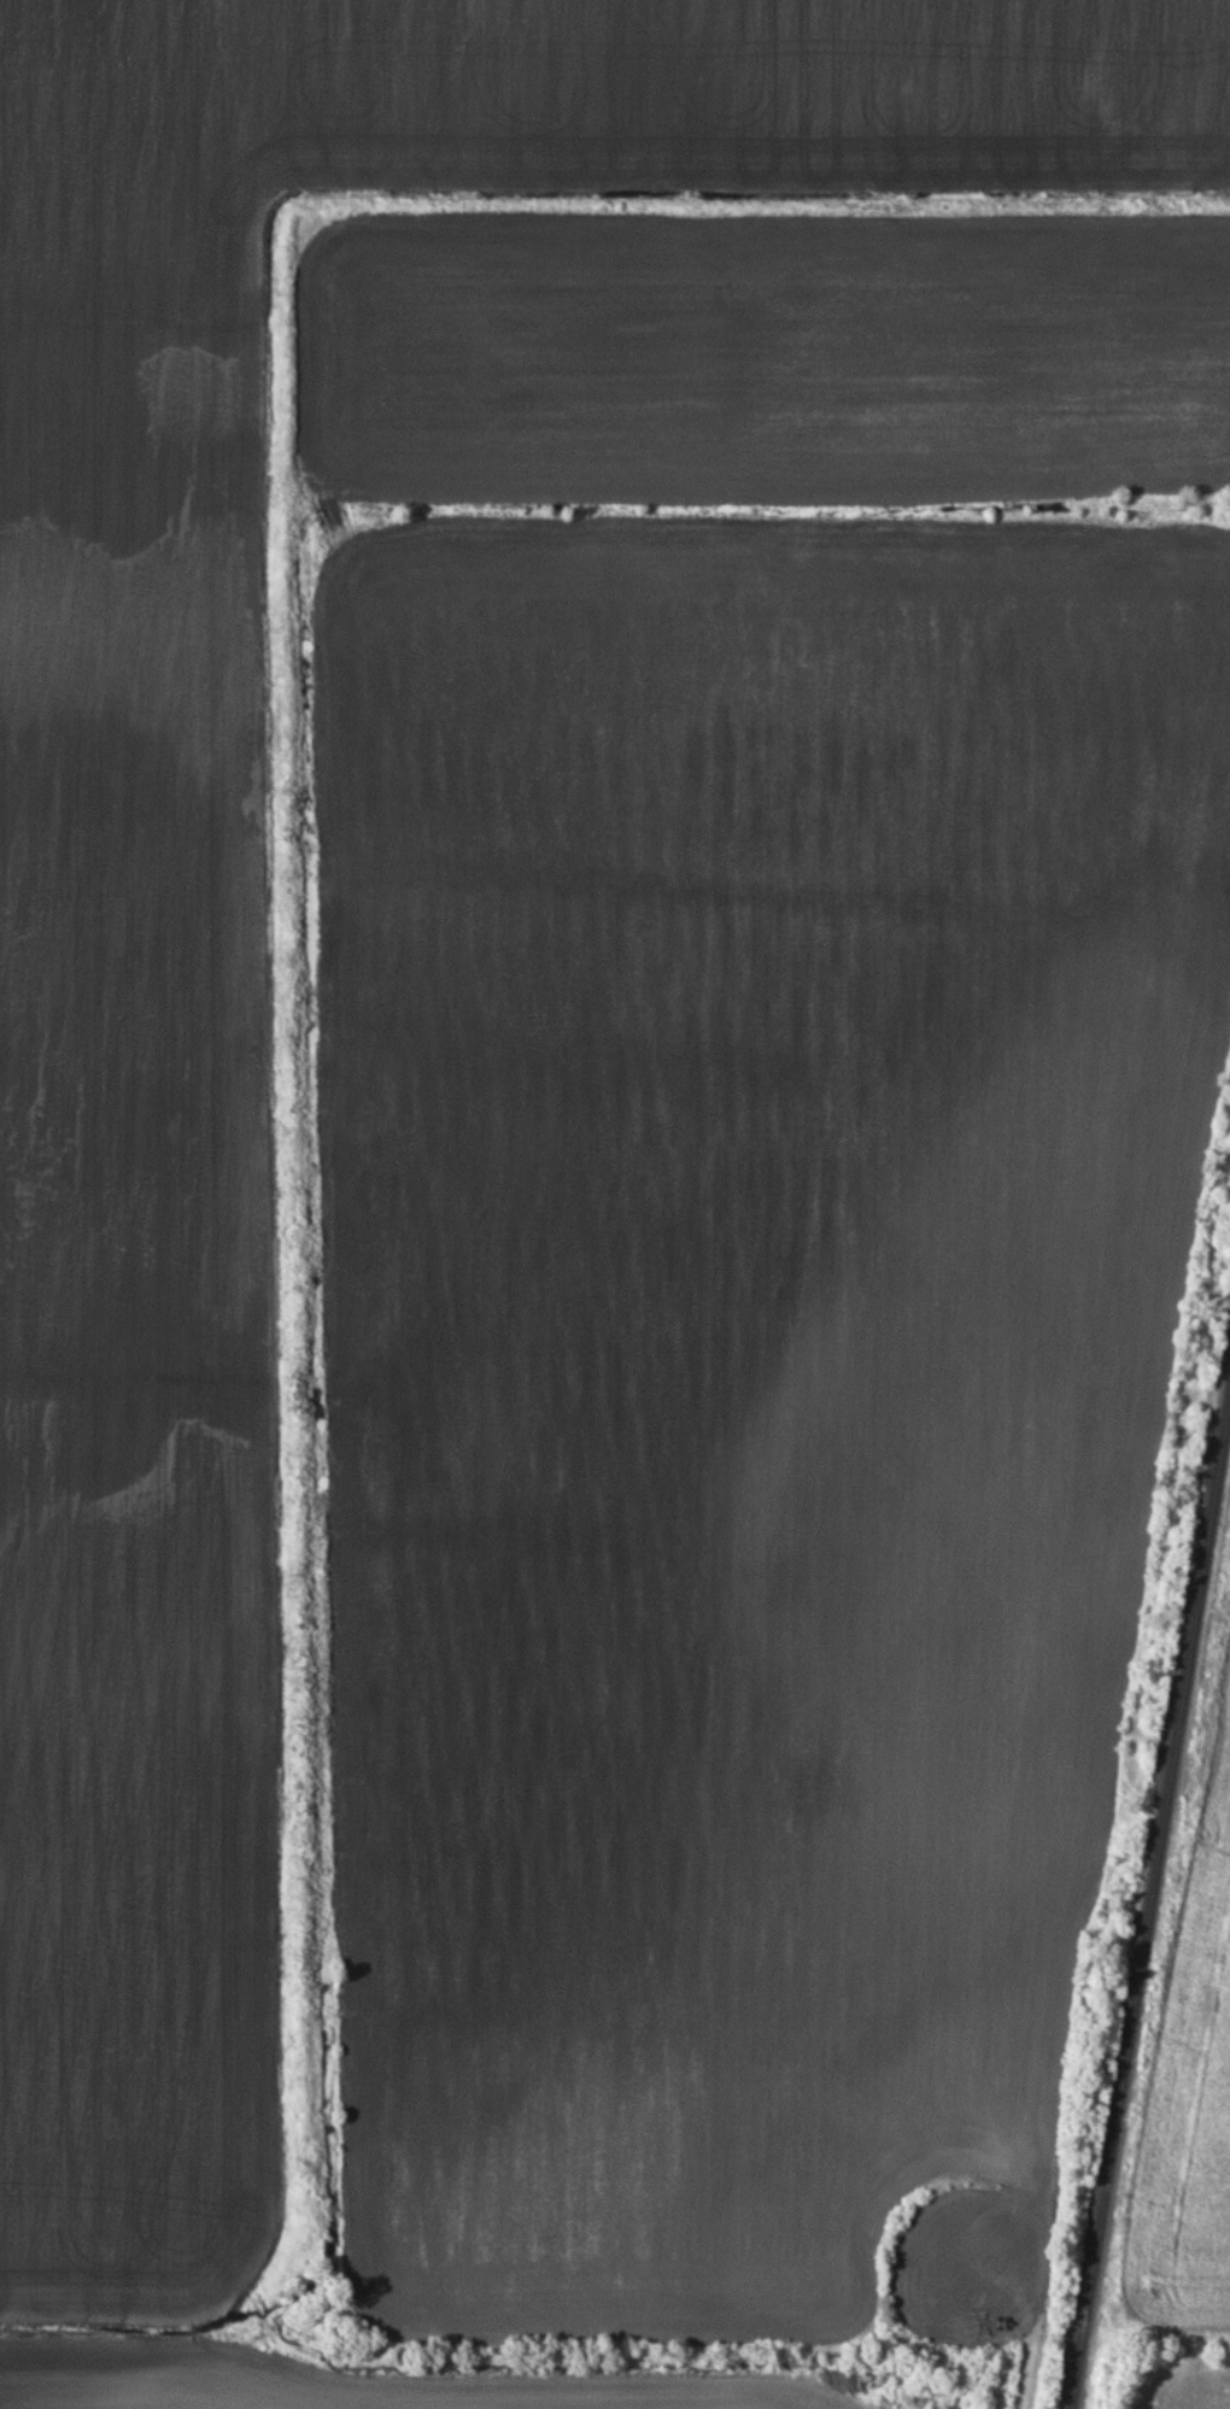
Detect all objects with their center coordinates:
railway: (1155, 1967)

